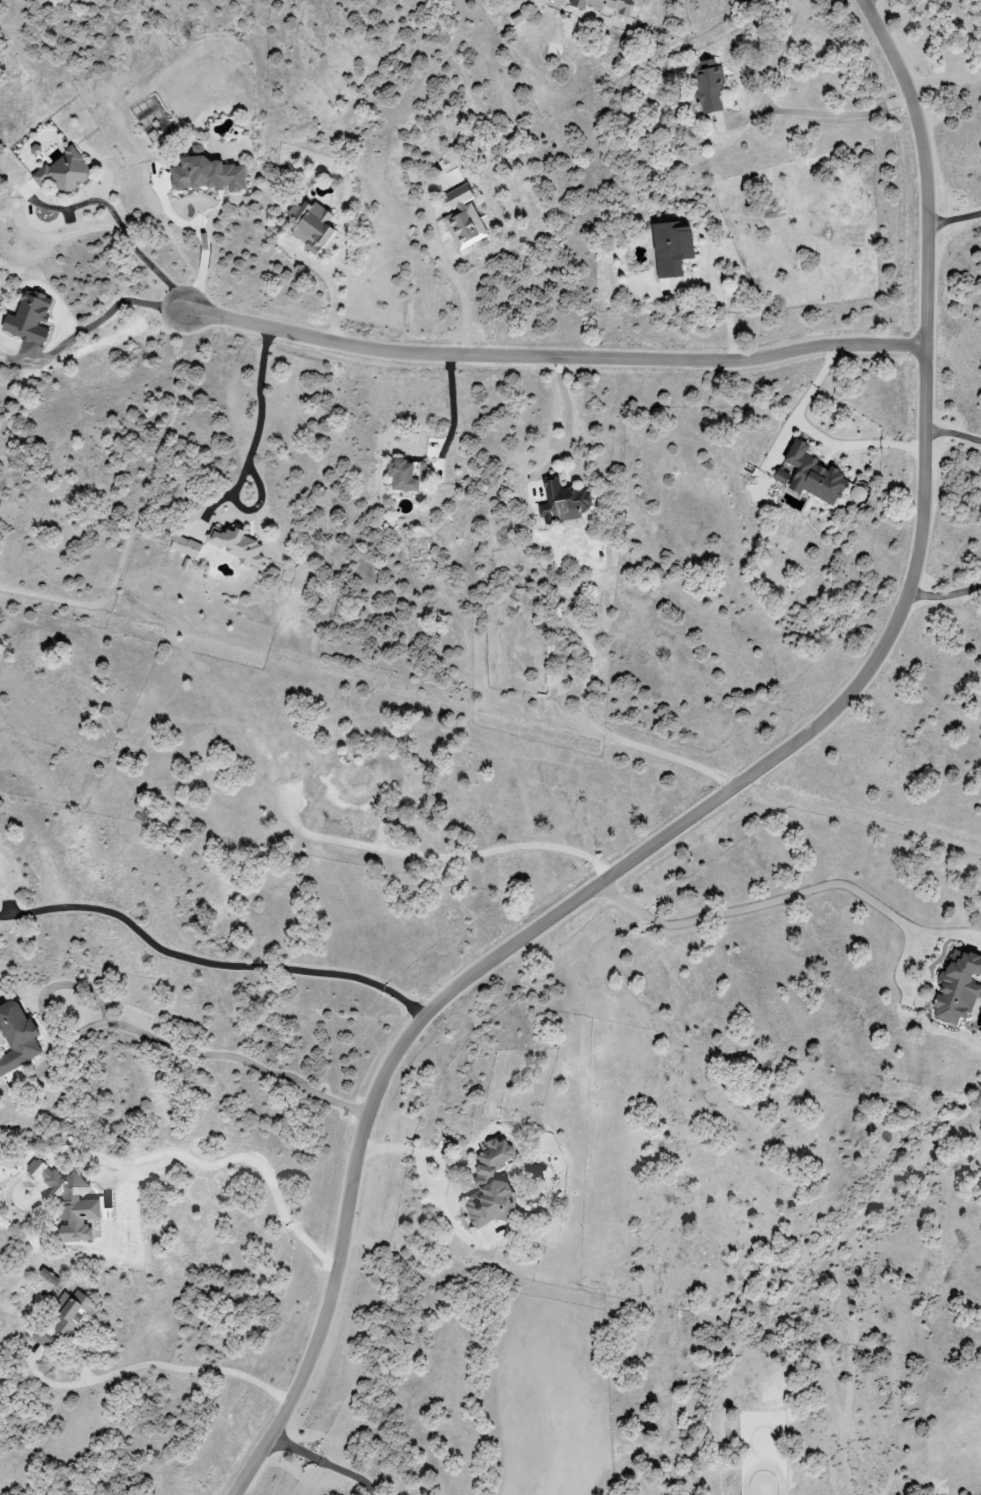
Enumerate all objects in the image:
road: (861, 0)
building: (605, 5)
road: (941, 79)
building: (708, 86)
road: (827, 116)
building: (64, 172)
building: (206, 173)
building: (463, 218)
road: (953, 220)
building: (311, 226)
building: (671, 249)
road: (205, 250)
road: (141, 255)
road: (464, 301)
road: (723, 301)
road: (333, 302)
road: (115, 307)
building: (28, 319)
road: (550, 359)
road: (453, 406)
road: (565, 408)
road: (257, 427)
road: (952, 427)
road: (821, 431)
building: (406, 475)
building: (813, 475)
building: (781, 478)
road: (260, 499)
building: (563, 503)
road: (139, 511)
building: (185, 546)
building: (237, 546)
road: (944, 590)
road: (614, 737)
road: (720, 799)
road: (446, 859)
road: (791, 893)
road: (216, 964)
building: (957, 987)
building: (17, 1037)
road: (148, 1038)
road: (428, 1183)
building: (490, 1186)
building: (69, 1203)
building: (51, 1279)
building: (71, 1313)
building: (43, 1338)
road: (162, 1366)
road: (328, 1458)

